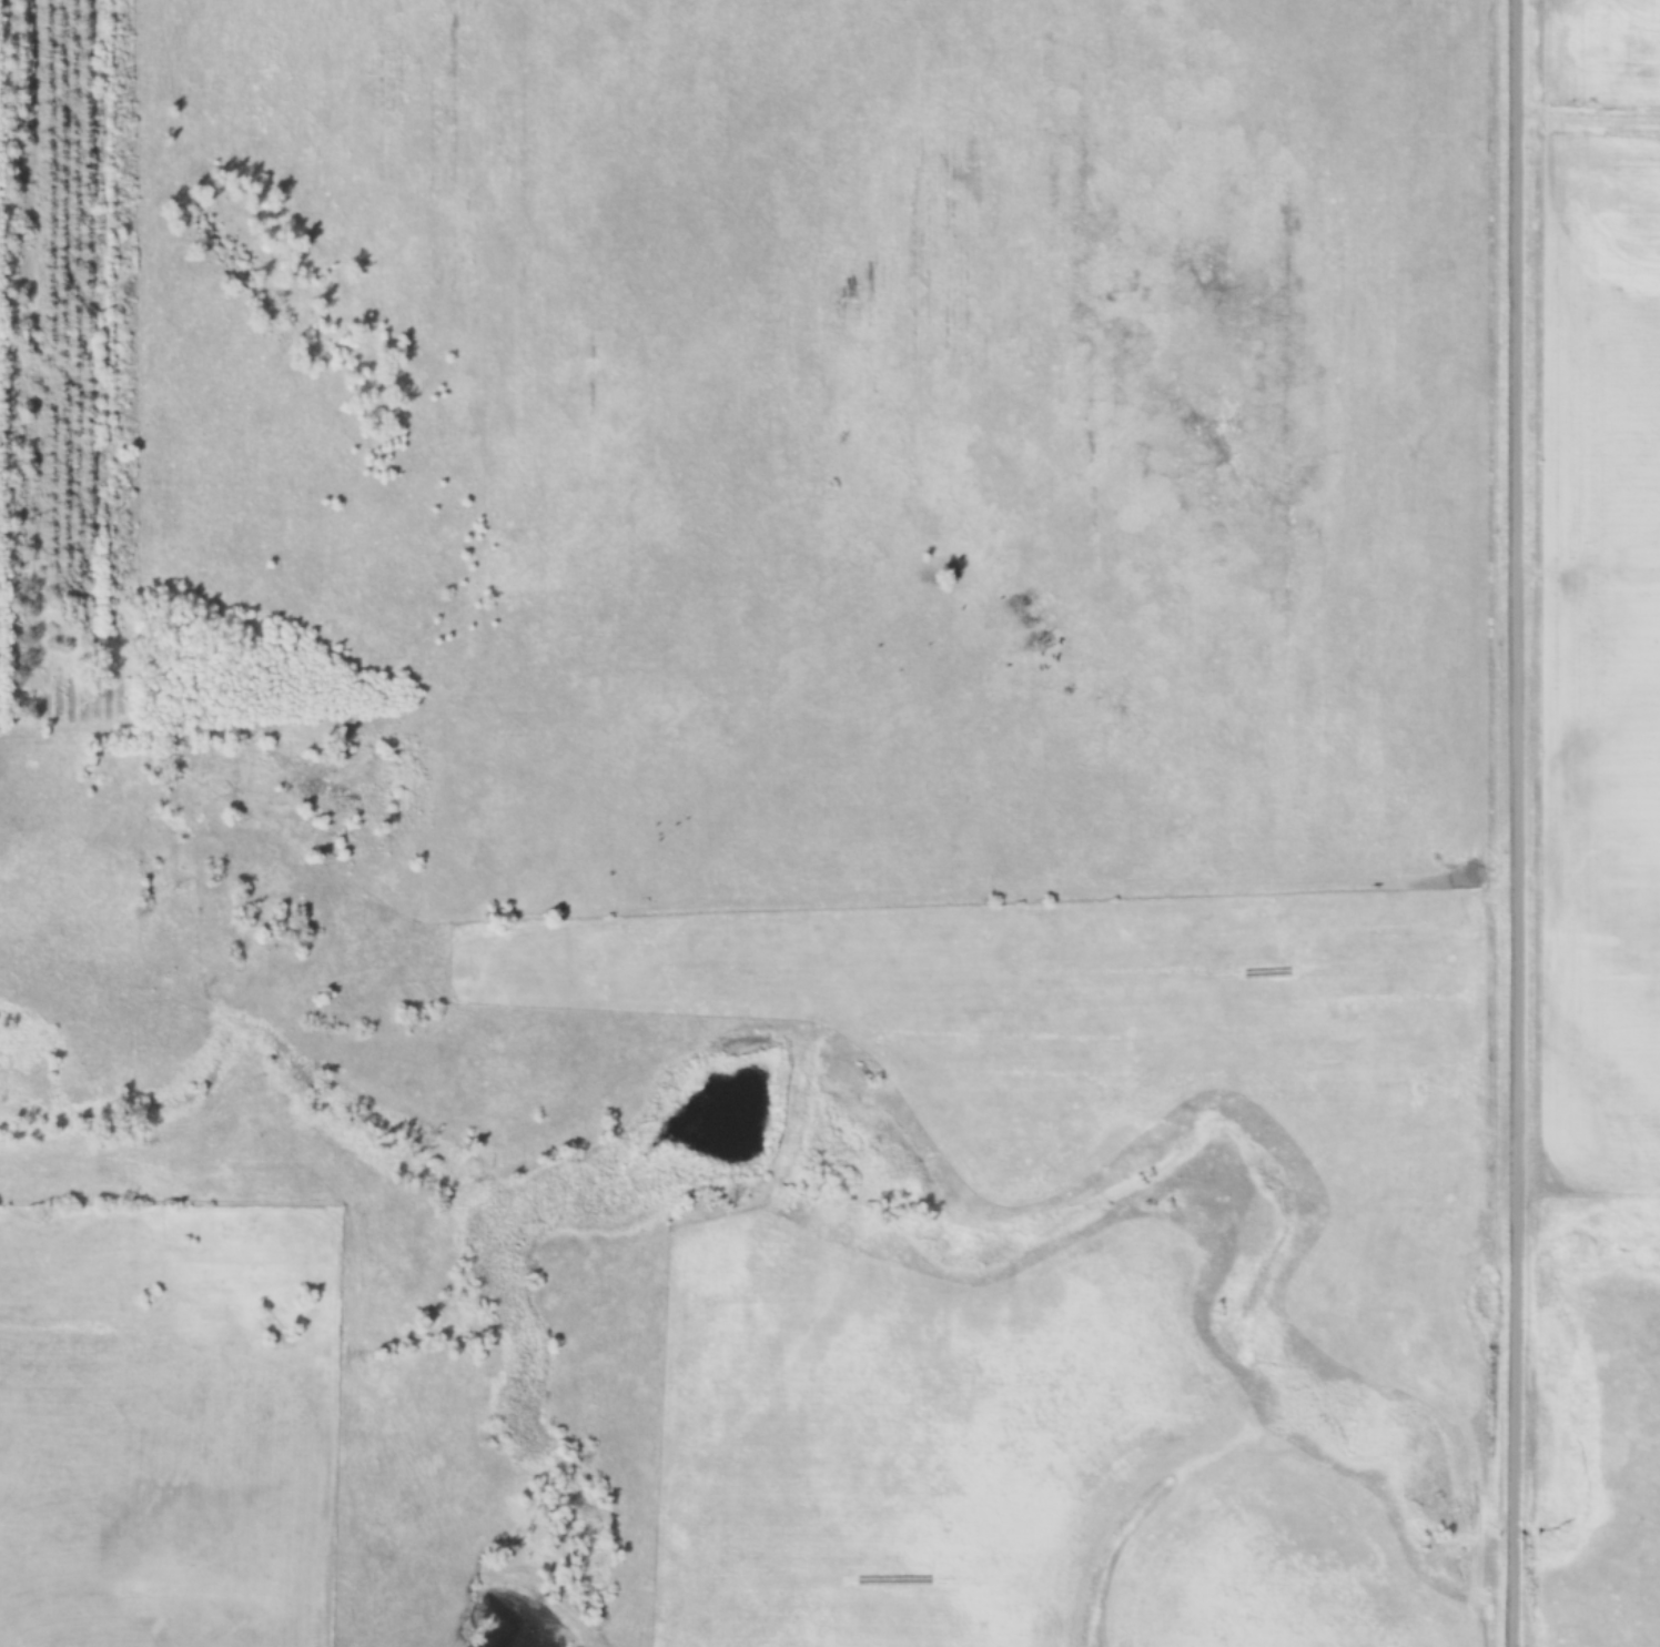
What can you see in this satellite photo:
road: (1510, 823)

